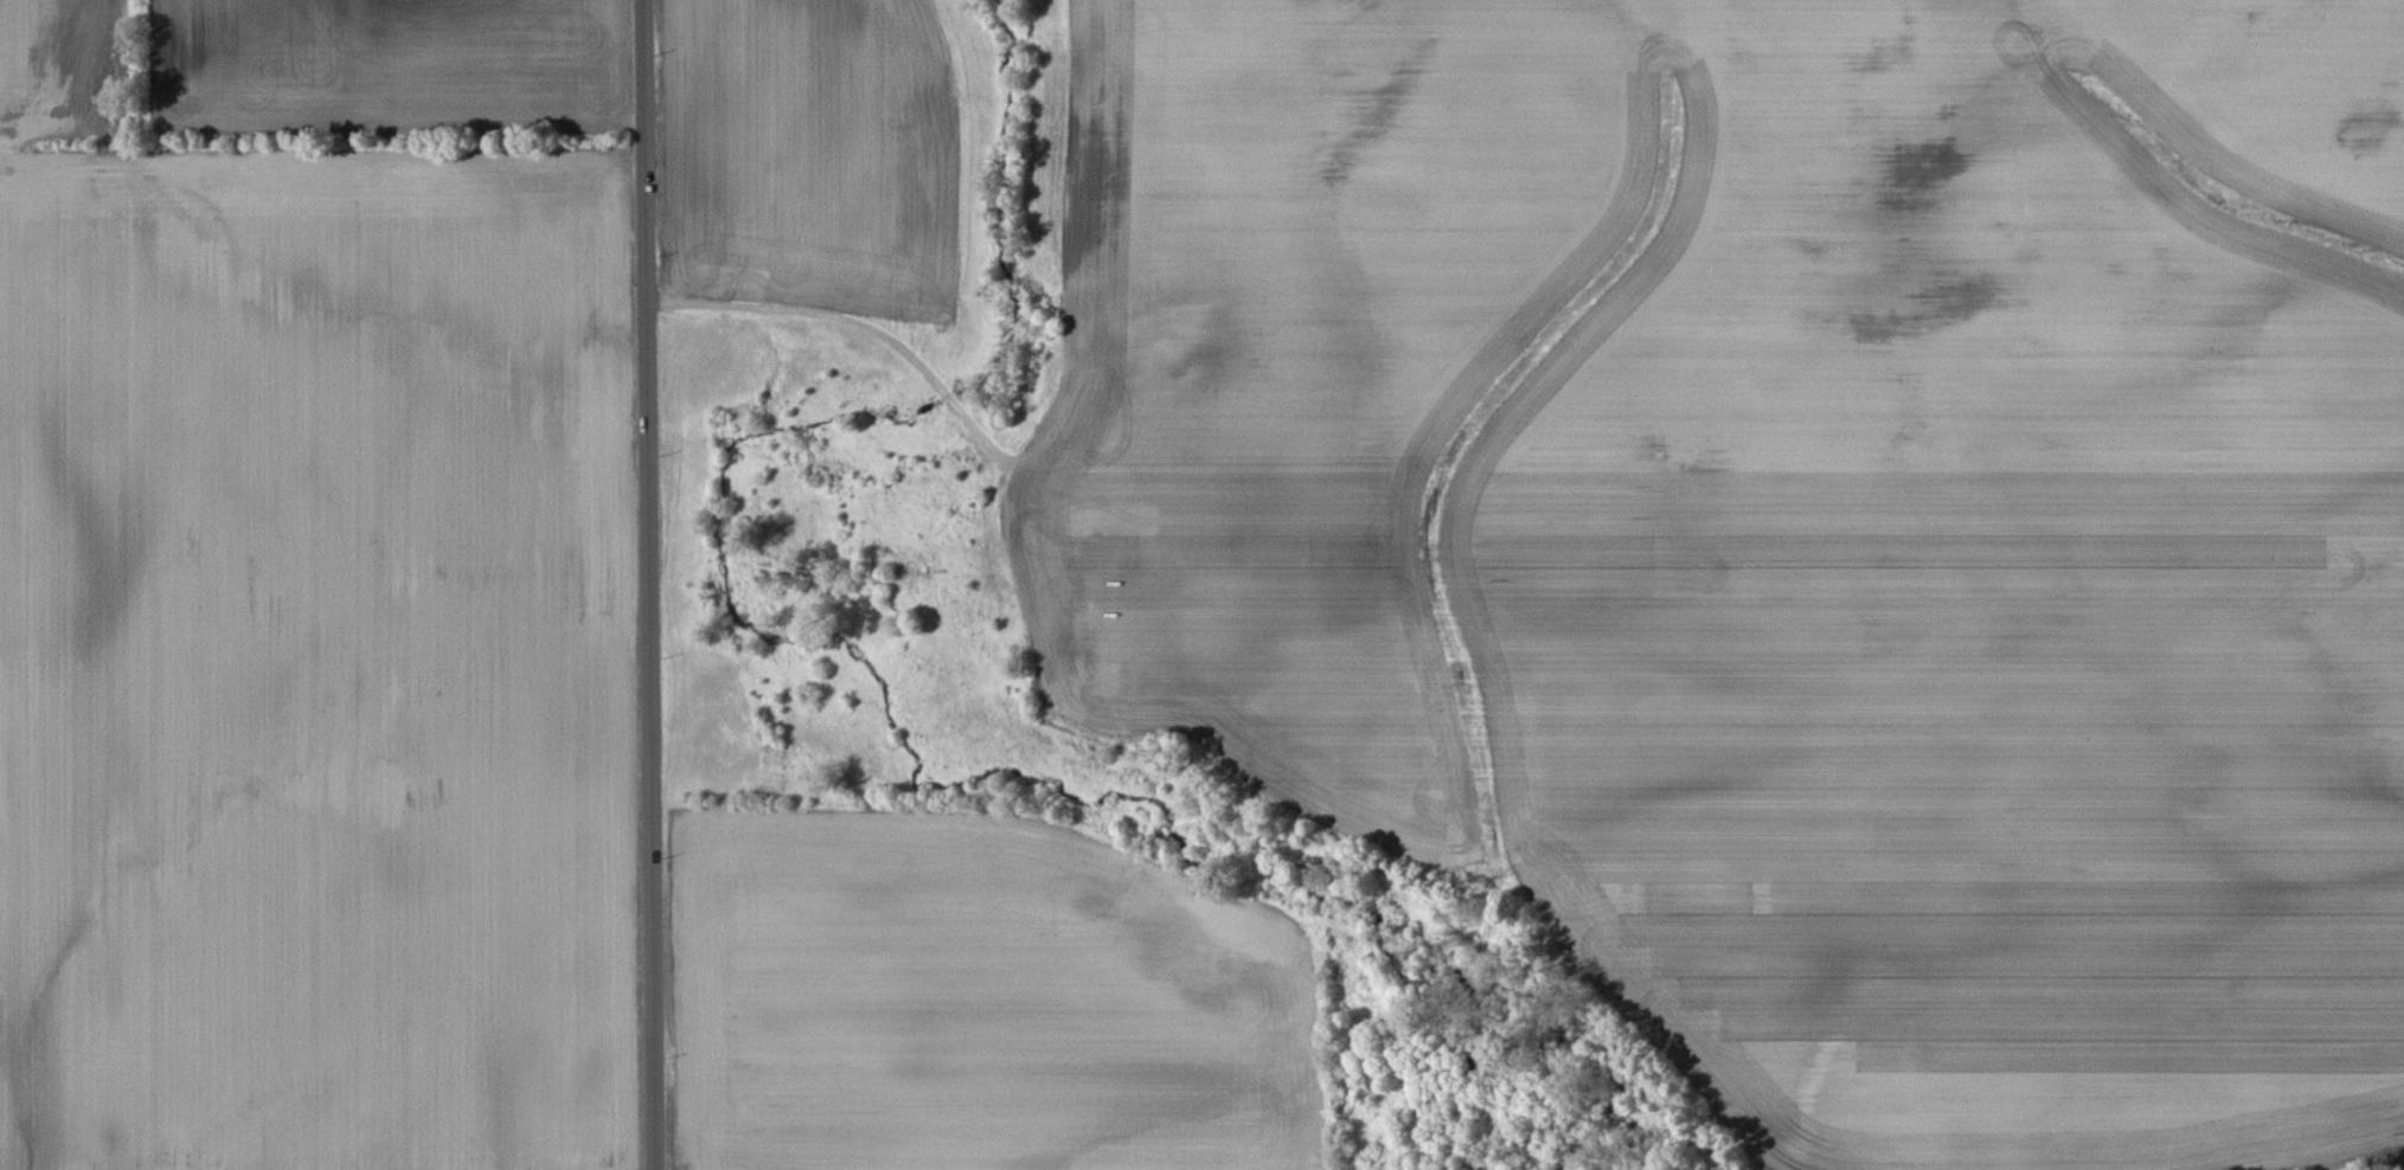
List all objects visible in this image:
road: (927, 346)
road: (647, 584)

